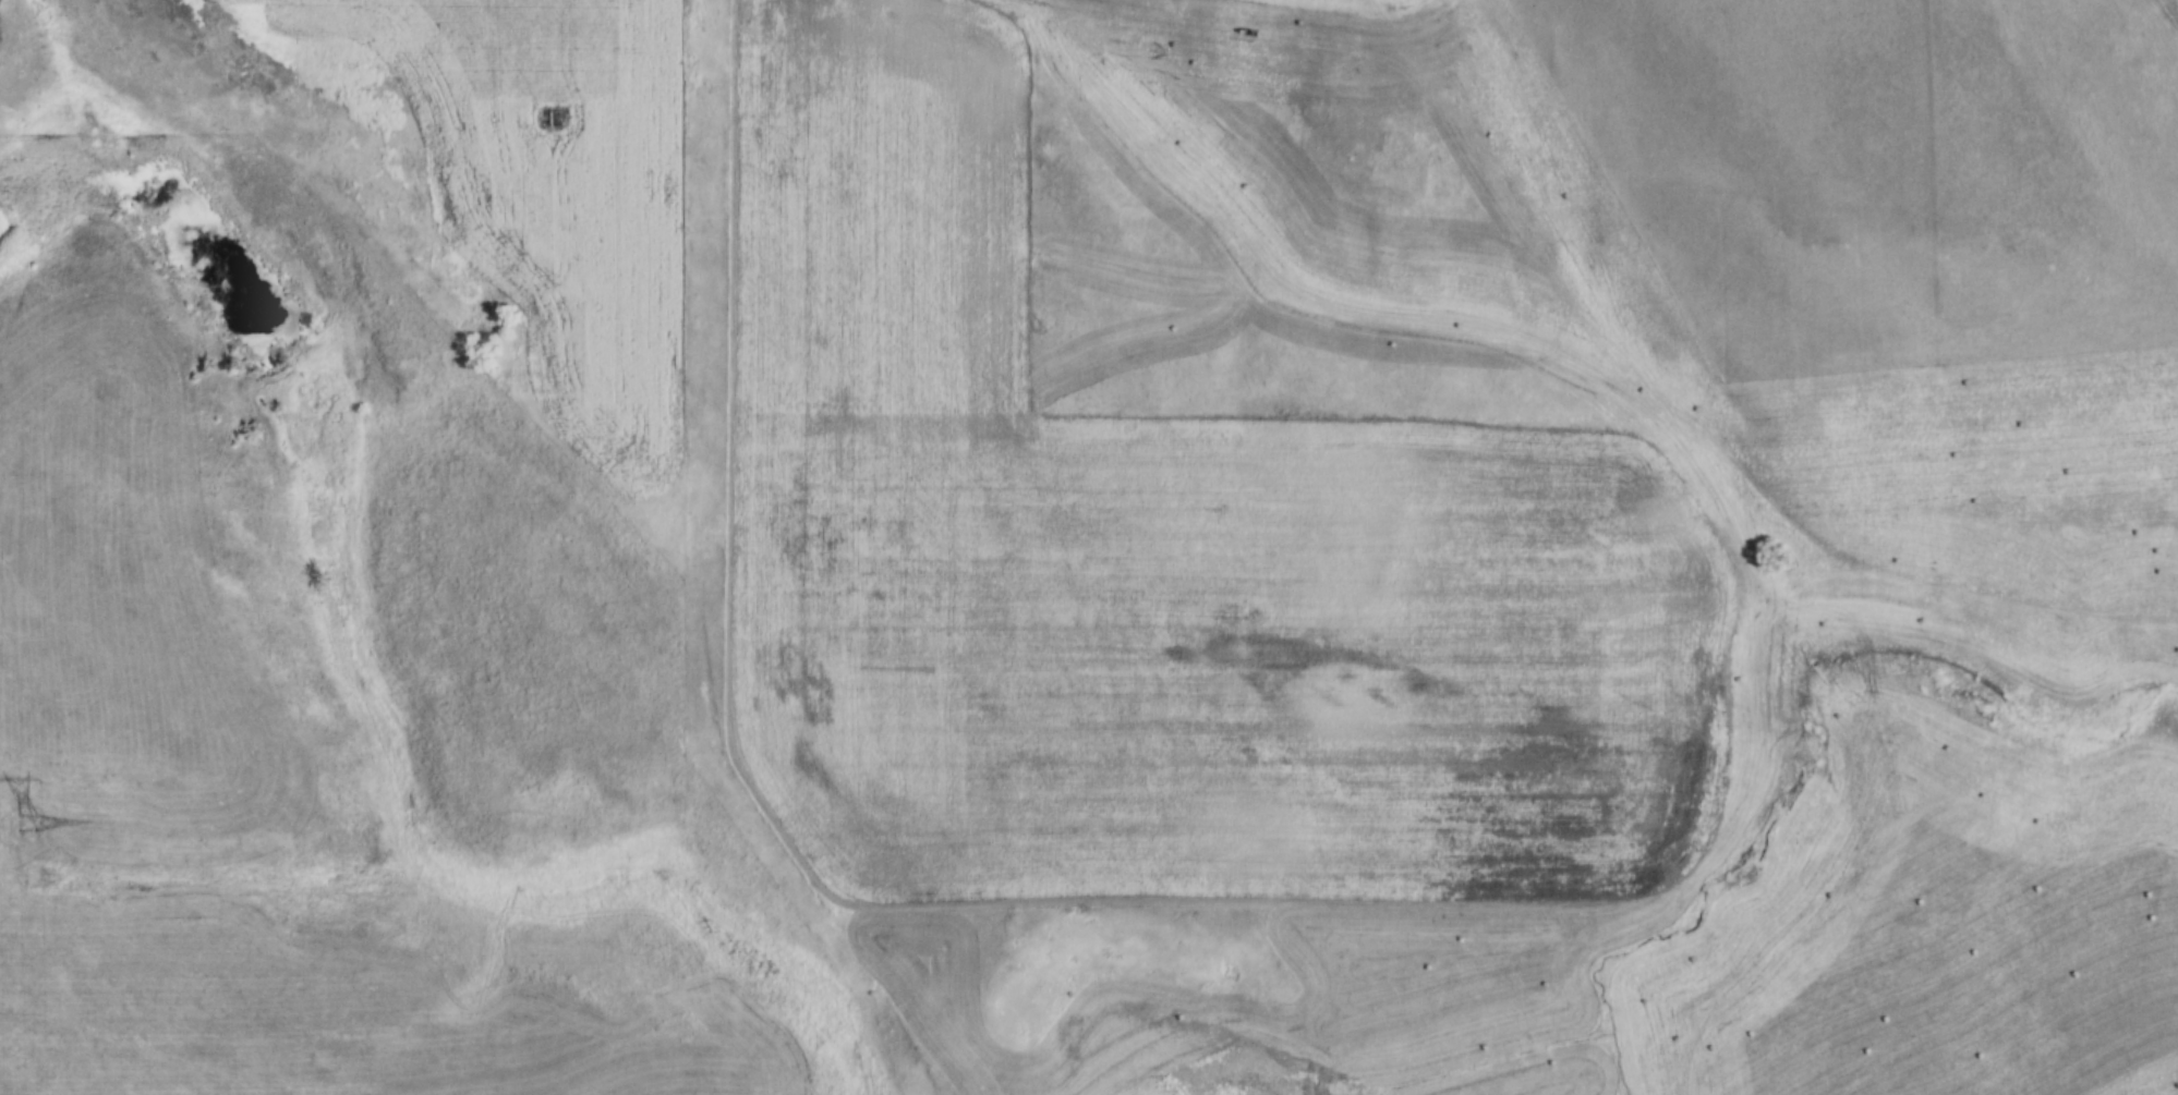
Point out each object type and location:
power tower: (22, 826)

